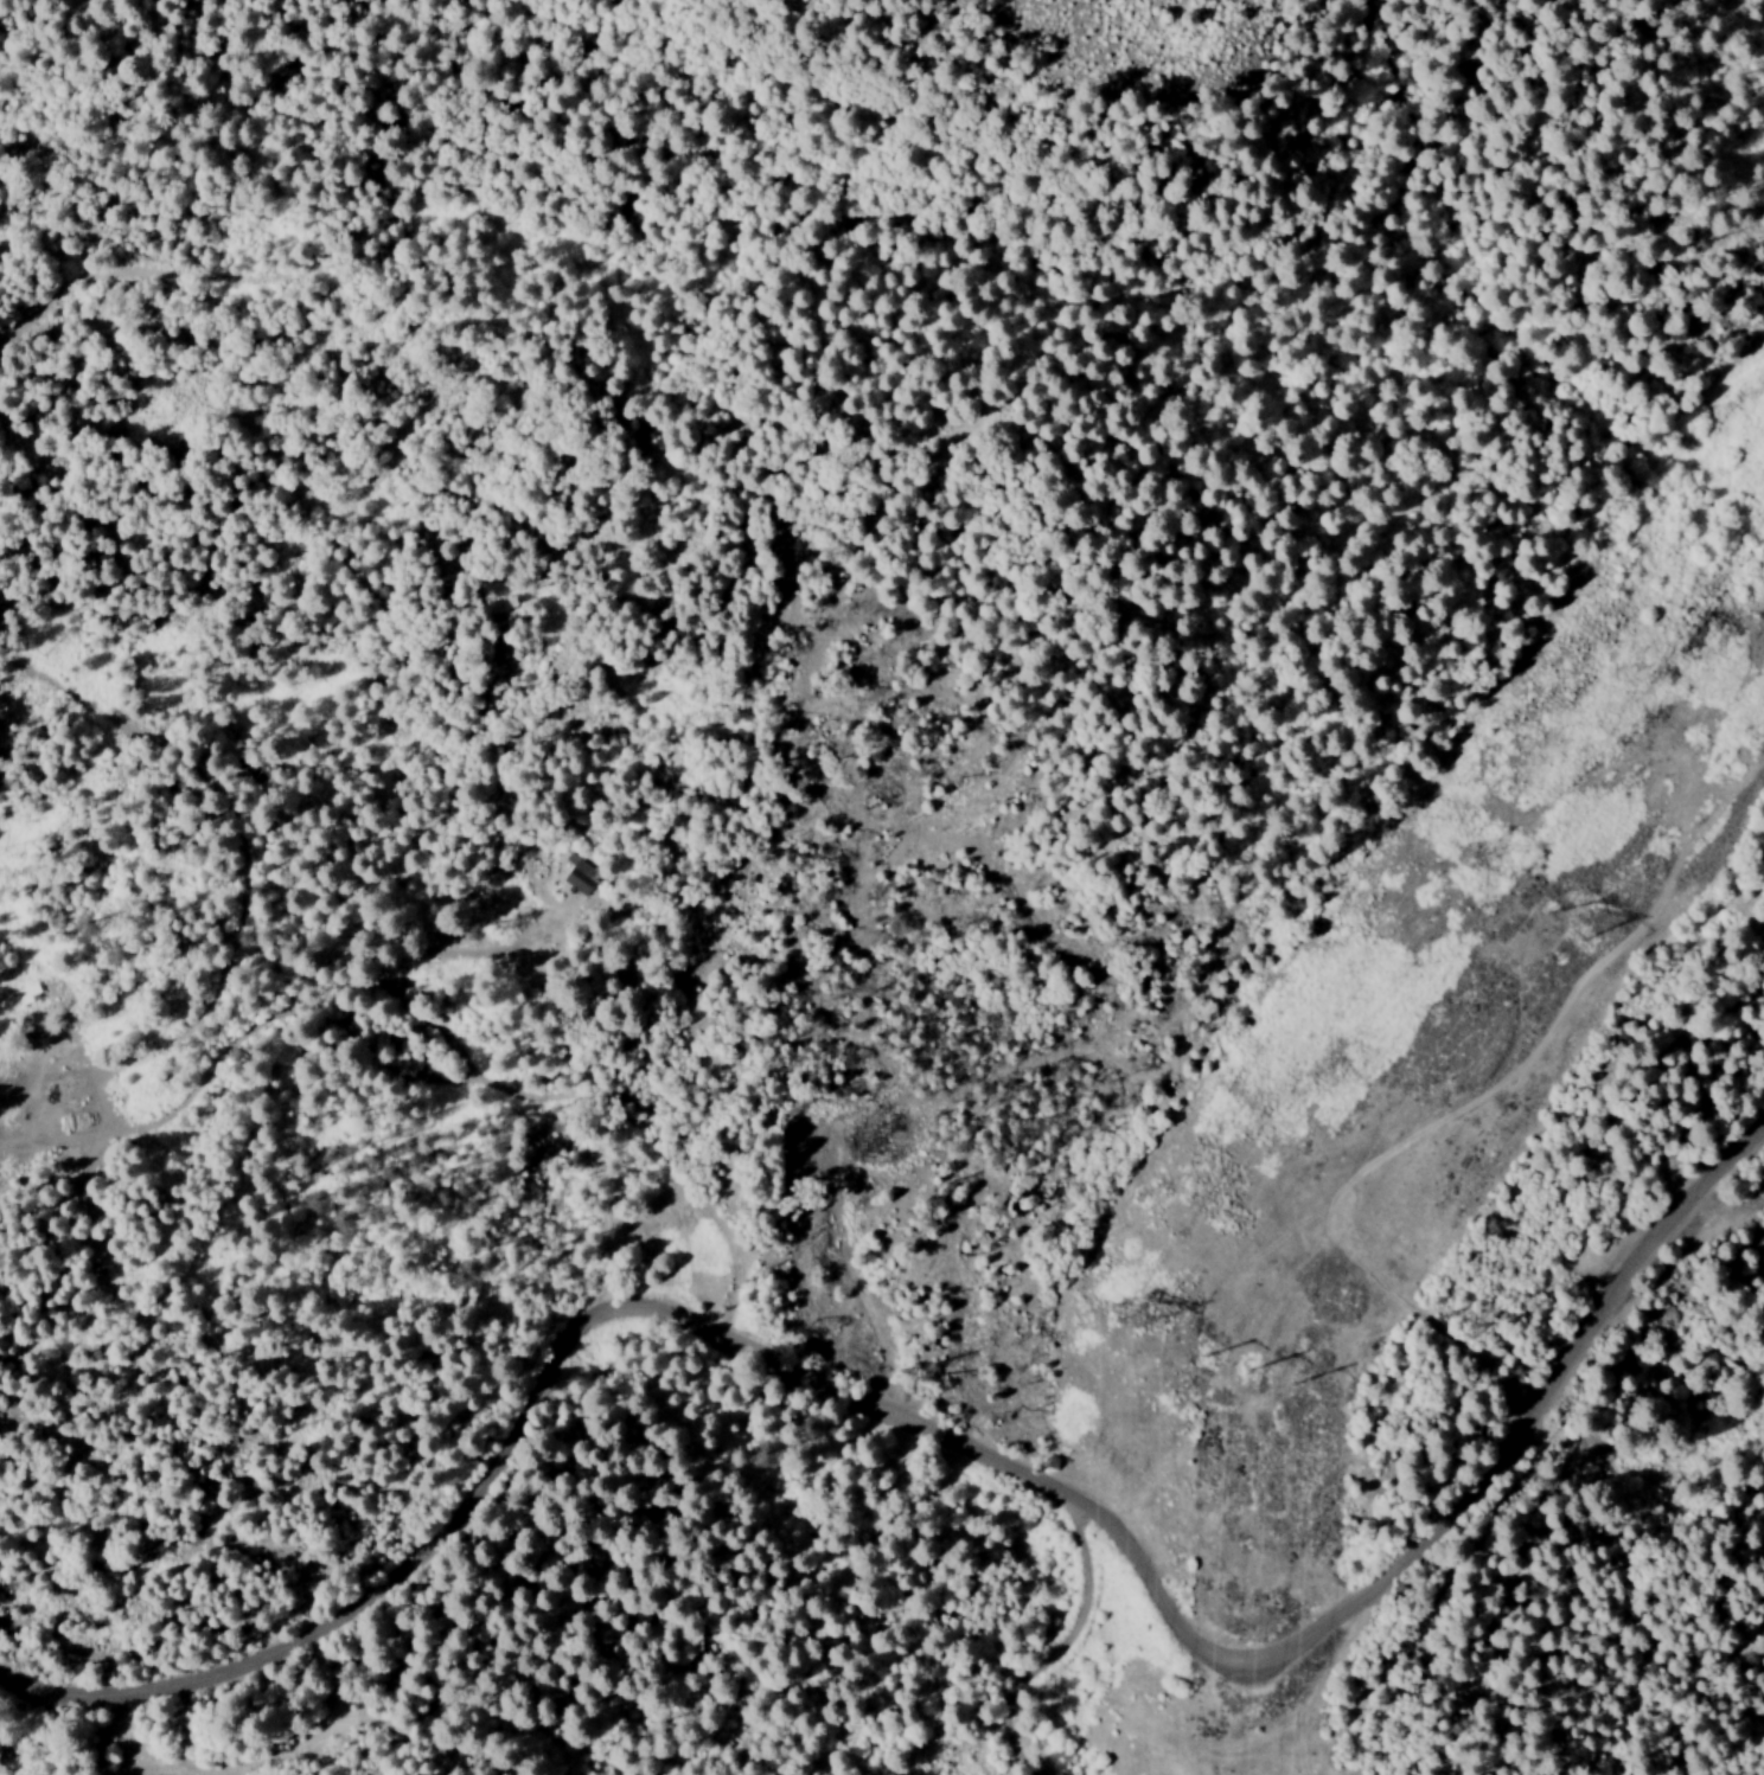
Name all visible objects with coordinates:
power tower: (1477, 860)
building: (582, 878)
power tower: (1567, 931)
building: (19, 997)
power tower: (1127, 1313)
power tower: (1258, 1366)
road: (951, 1479)
road: (1046, 1667)
road: (160, 1744)

